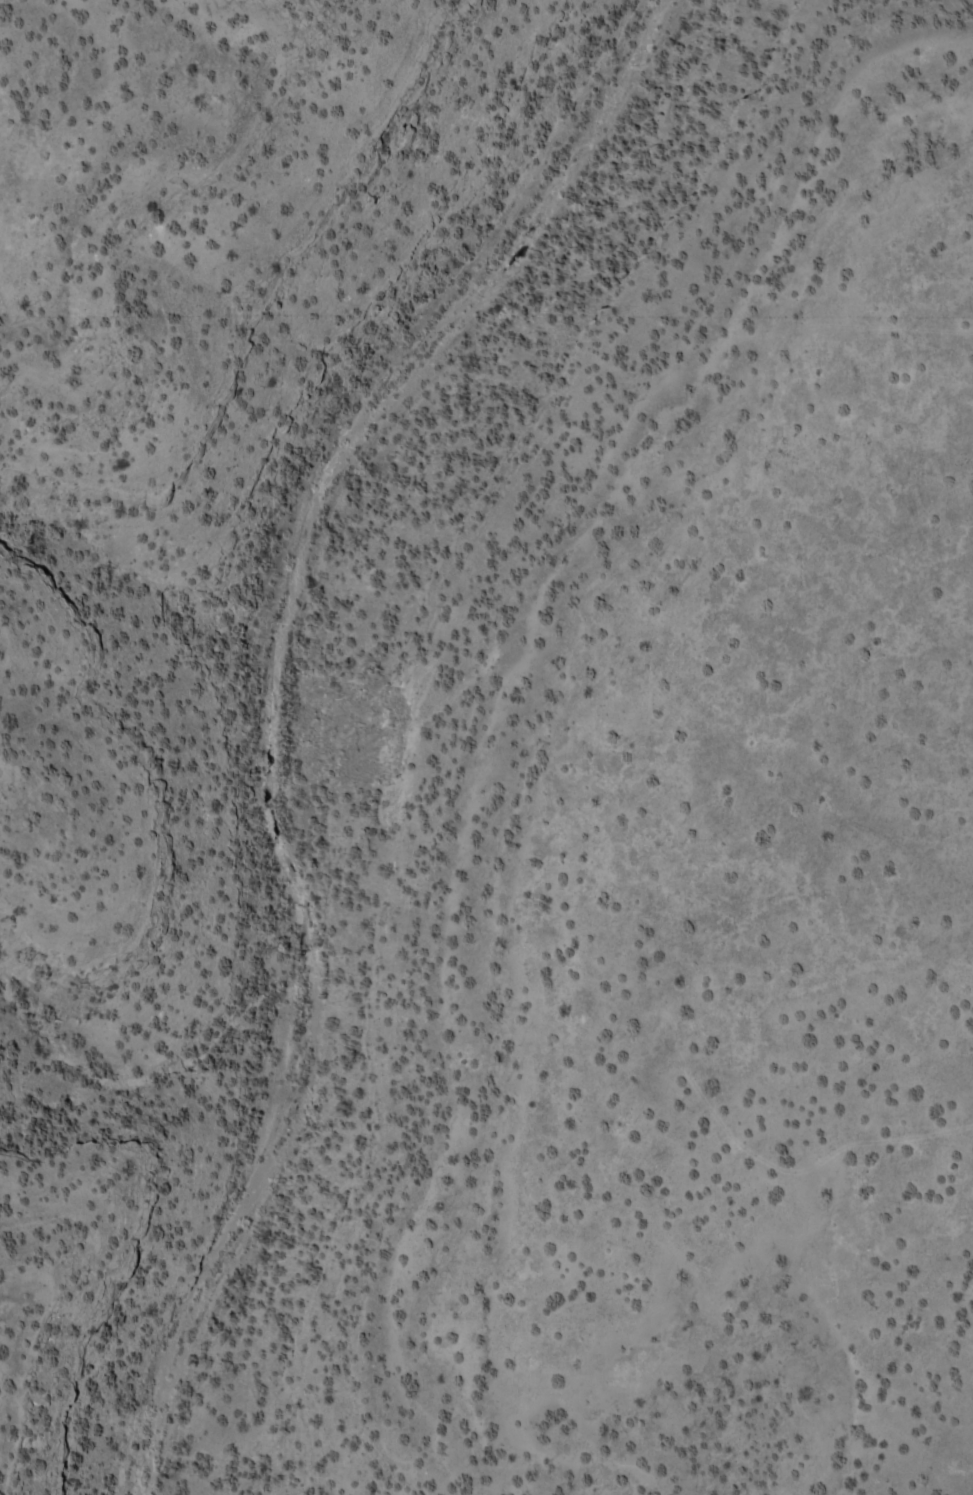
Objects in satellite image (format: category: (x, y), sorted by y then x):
road: (13, 810)

